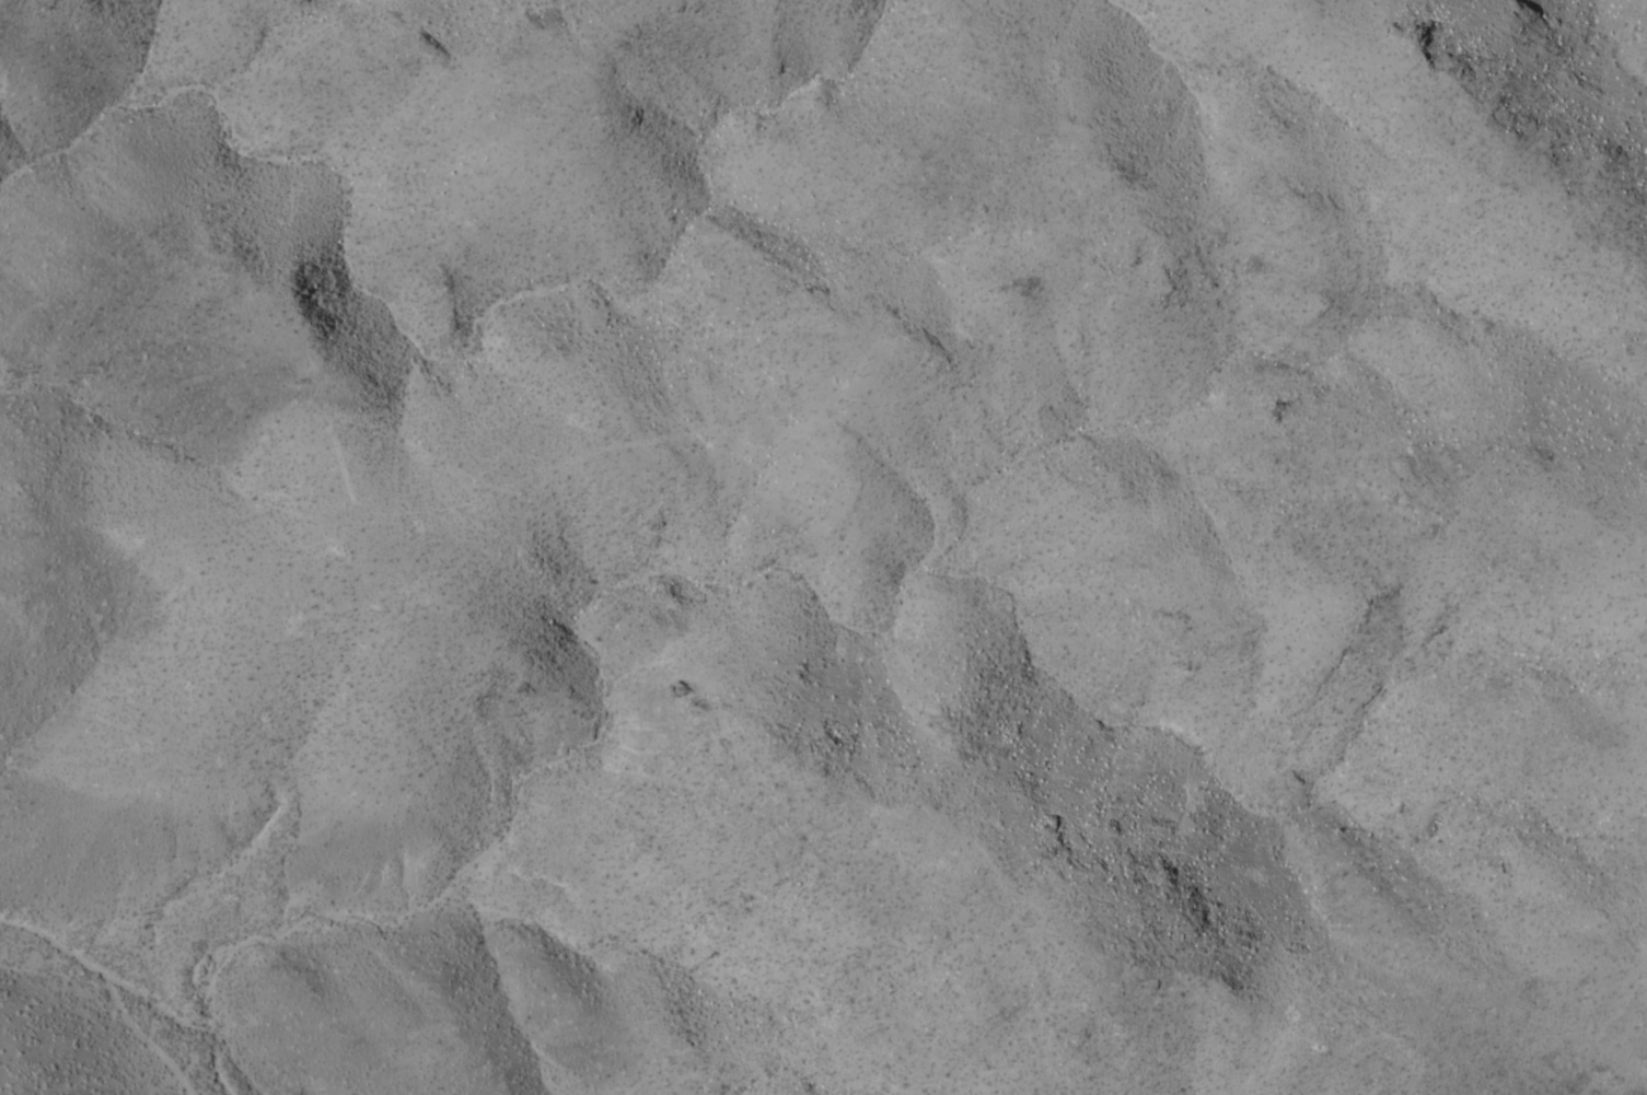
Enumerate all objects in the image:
road: (109, 990)

